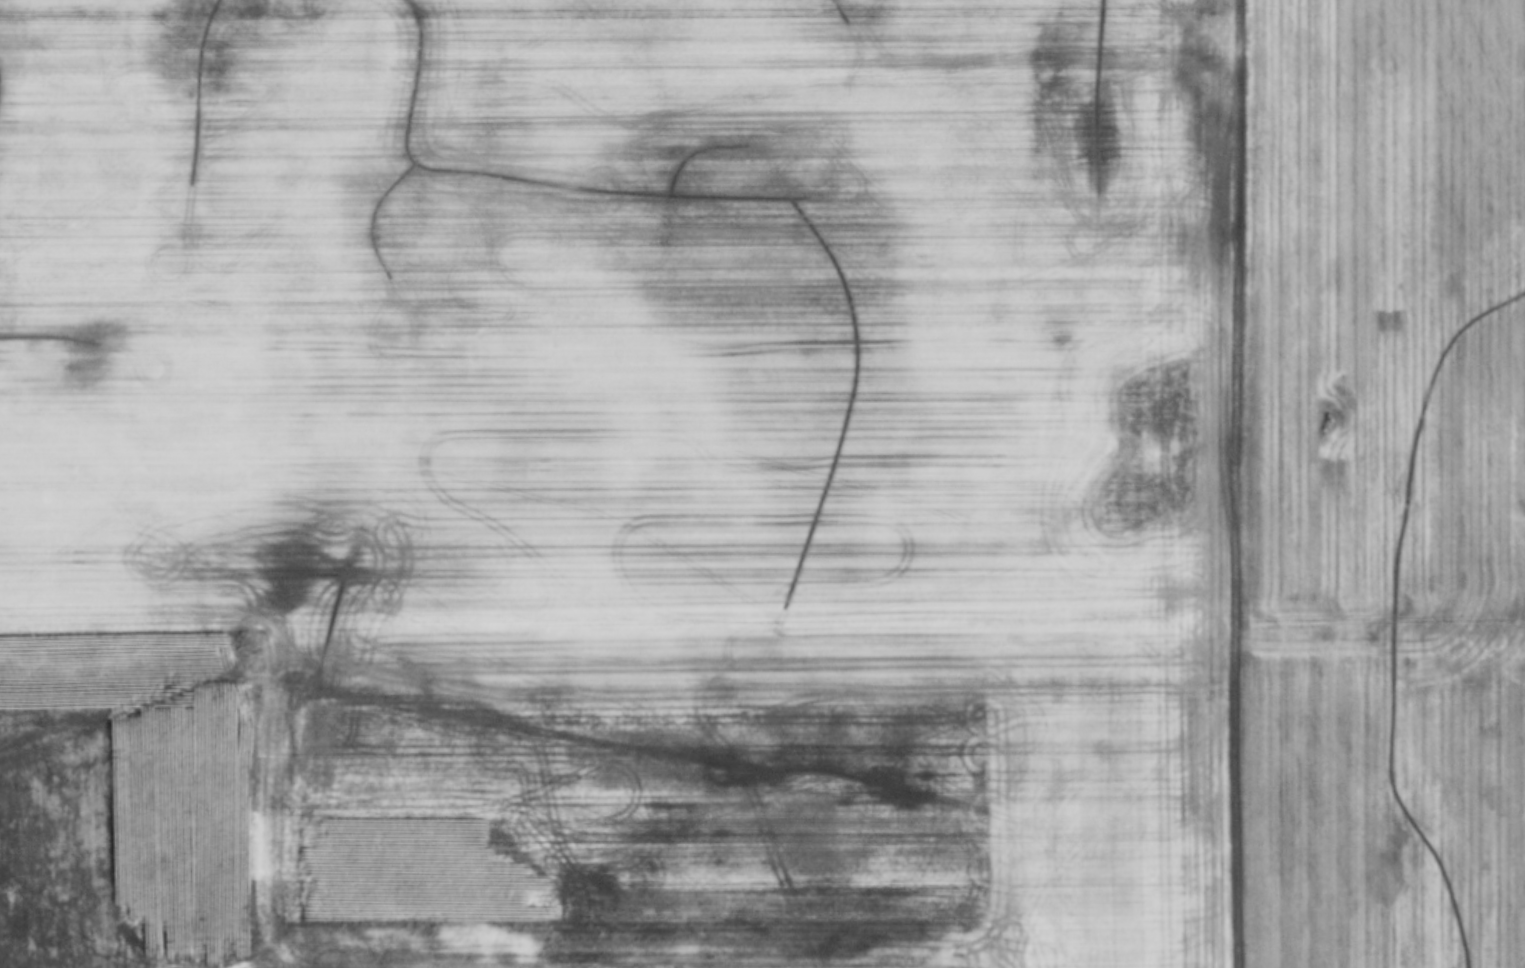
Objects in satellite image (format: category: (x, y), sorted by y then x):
road: (1240, 323)

